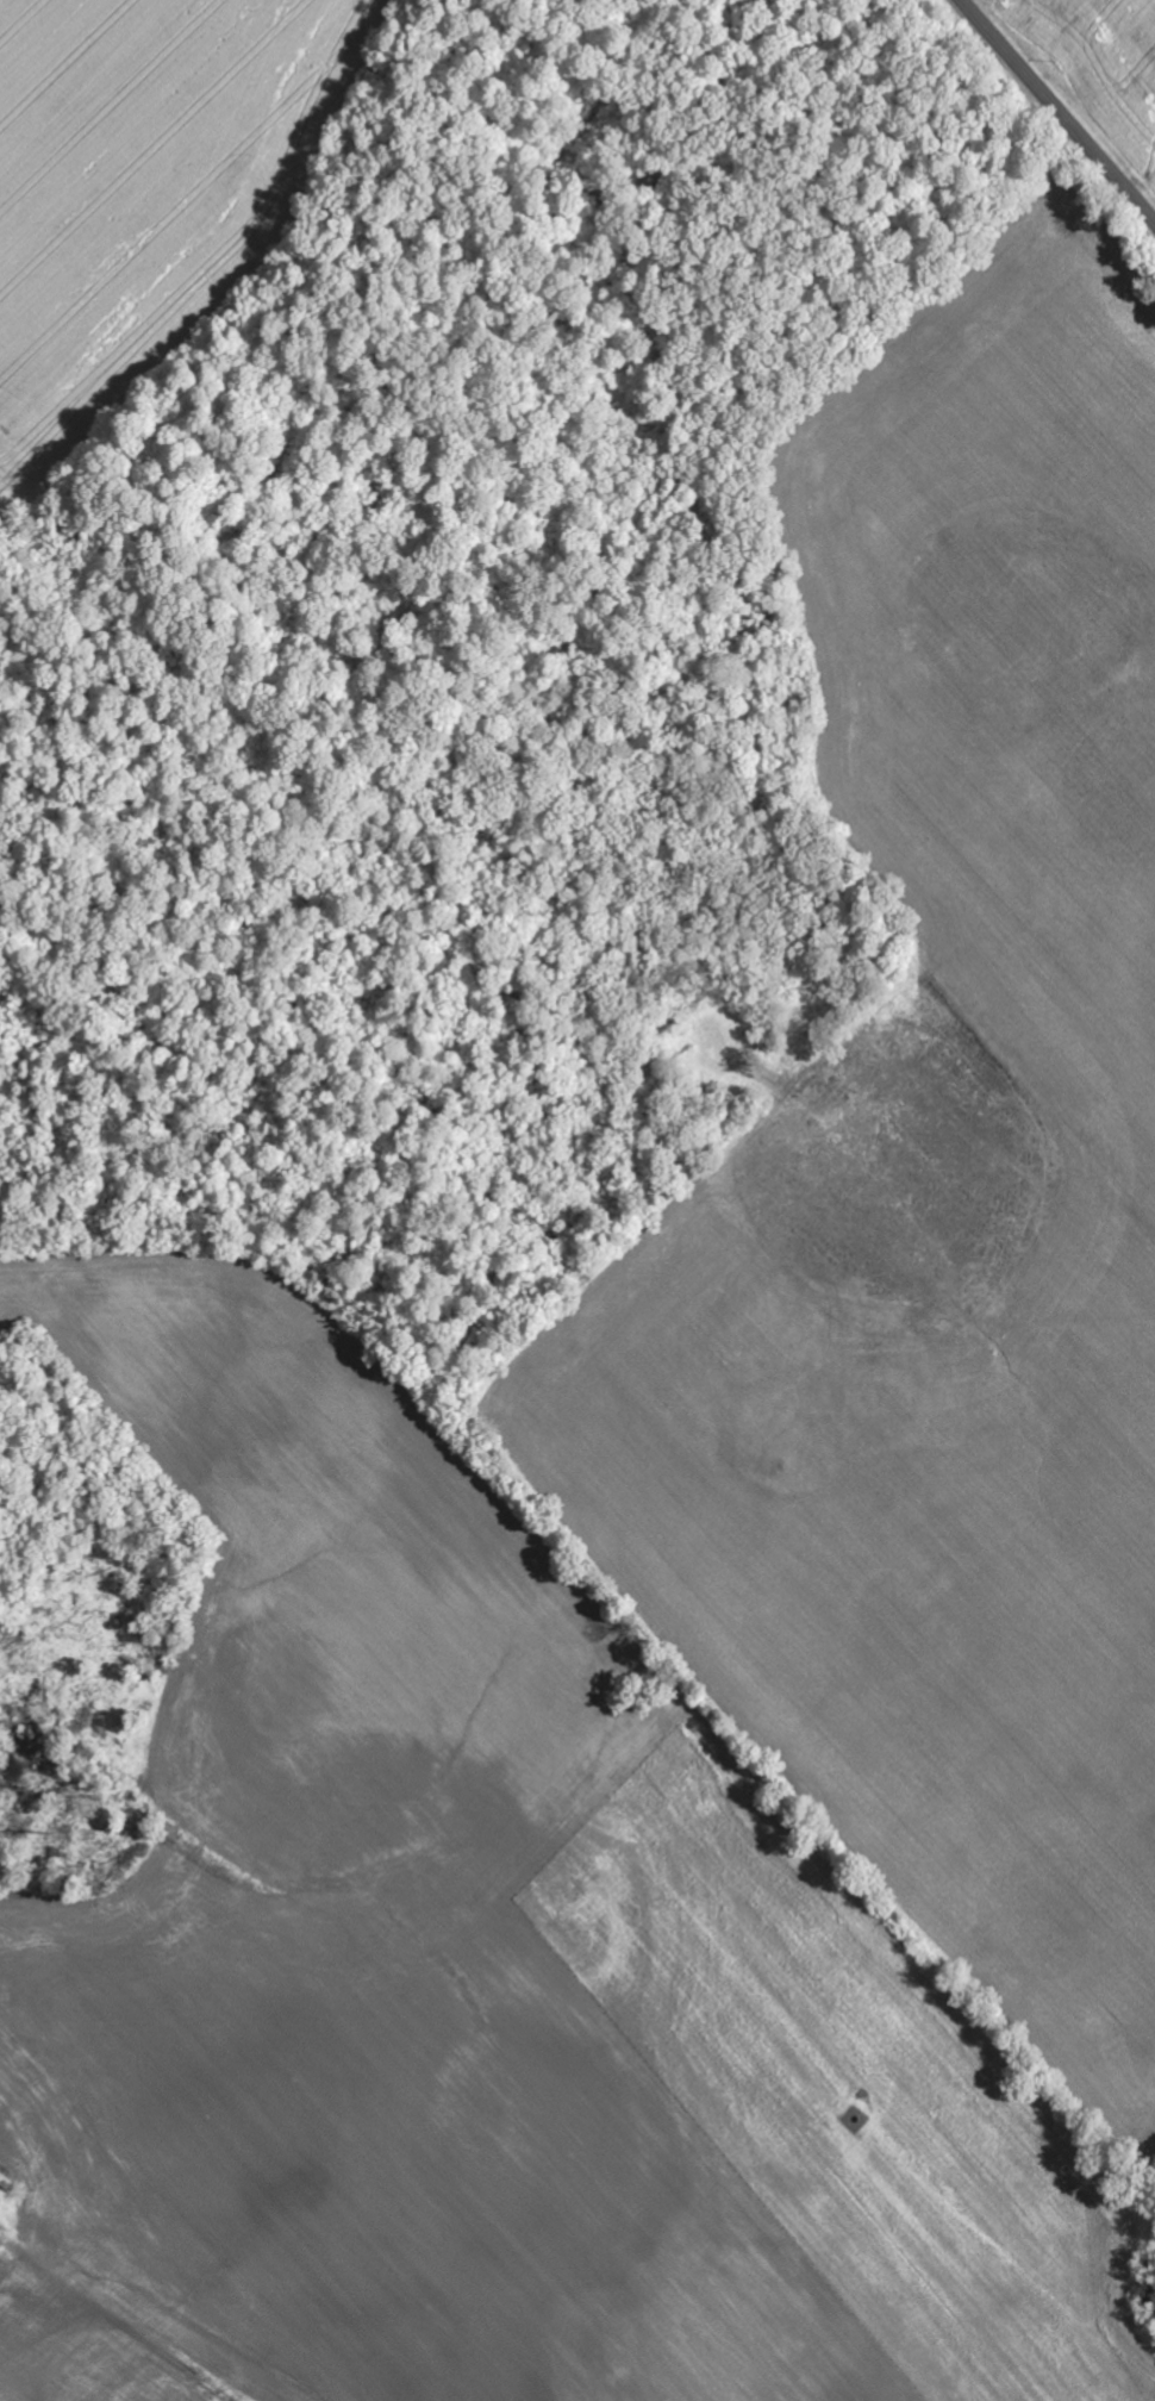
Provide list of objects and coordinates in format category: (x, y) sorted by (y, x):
road: (1060, 108)

